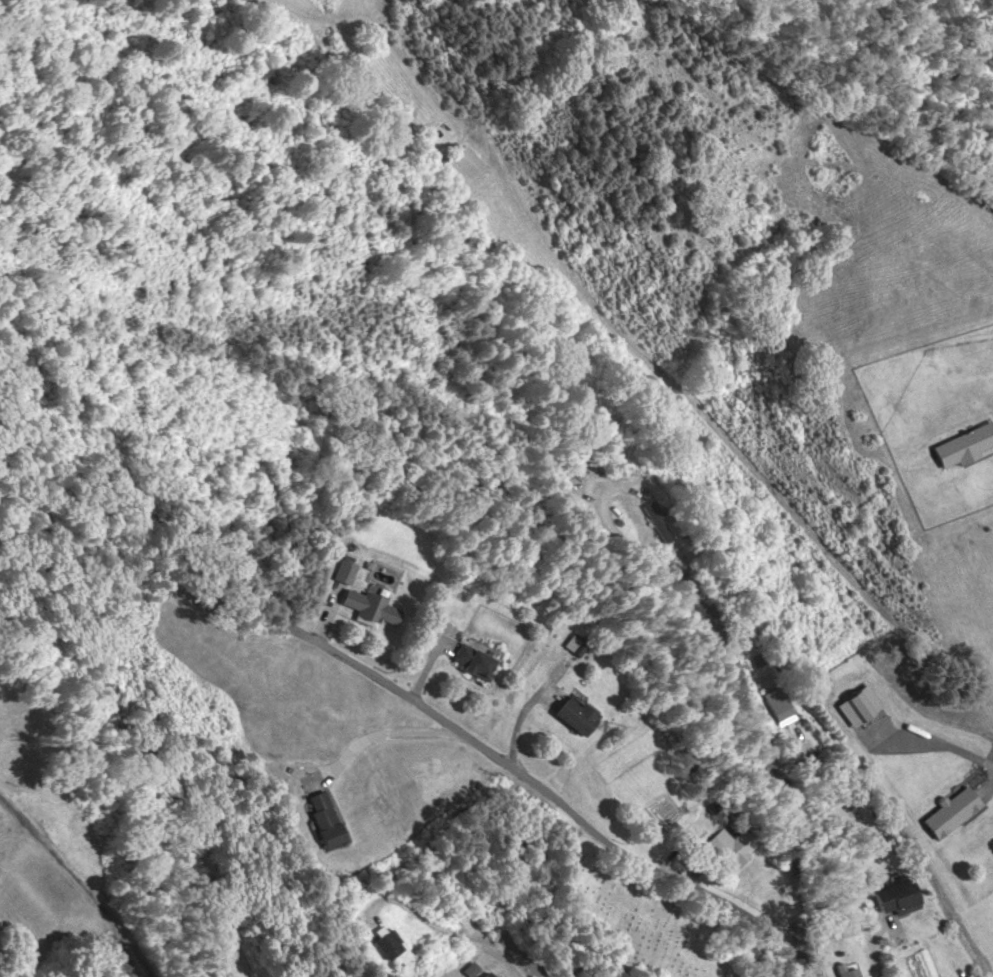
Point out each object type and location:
building: (458, 165)
building: (962, 446)
building: (370, 608)
building: (472, 662)
road: (725, 703)
building: (856, 705)
building: (569, 716)
road: (566, 802)
building: (949, 813)
building: (321, 820)
road: (83, 886)
building: (894, 905)
road: (452, 929)
building: (378, 944)
road: (868, 948)
building: (484, 975)

